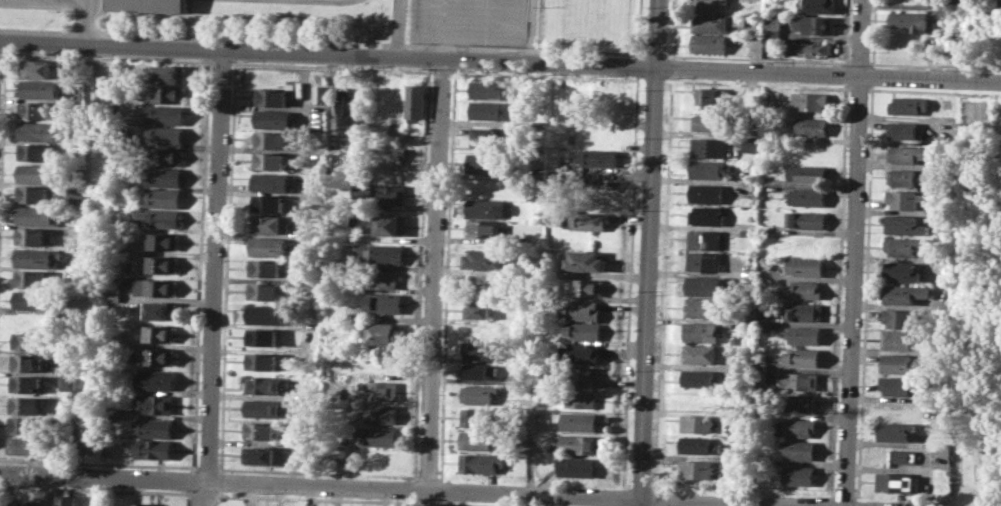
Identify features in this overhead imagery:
road: (59, 1)
building: (956, 4)
building: (148, 5)
building: (713, 5)
building: (821, 5)
road: (86, 21)
building: (912, 21)
parking lot: (472, 22)
building: (712, 23)
building: (741, 23)
building: (774, 23)
building: (815, 24)
road: (398, 27)
road: (641, 28)
road: (532, 31)
road: (229, 38)
building: (711, 43)
building: (809, 48)
road: (536, 51)
road: (500, 61)
road: (640, 65)
building: (37, 67)
building: (170, 74)
building: (39, 88)
building: (490, 89)
building: (166, 93)
building: (318, 93)
building: (272, 97)
building: (713, 97)
building: (769, 98)
building: (415, 99)
building: (396, 101)
building: (812, 101)
building: (909, 105)
building: (348, 108)
building: (35, 109)
building: (492, 110)
building: (166, 114)
building: (274, 118)
building: (713, 122)
building: (813, 126)
building: (905, 128)
building: (945, 128)
building: (38, 131)
building: (165, 135)
building: (491, 136)
building: (270, 138)
building: (753, 144)
building: (709, 147)
building: (812, 150)
building: (36, 152)
building: (908, 153)
building: (166, 155)
building: (392, 157)
building: (600, 157)
building: (335, 159)
building: (270, 160)
building: (488, 164)
building: (710, 169)
building: (37, 173)
building: (808, 174)
building: (164, 177)
building: (902, 177)
building: (273, 182)
building: (751, 186)
building: (708, 192)
building: (32, 193)
building: (381, 193)
building: (536, 193)
building: (75, 195)
building: (809, 196)
building: (161, 198)
building: (903, 198)
building: (268, 203)
building: (487, 208)
building: (37, 215)
building: (708, 215)
building: (158, 217)
building: (589, 220)
building: (805, 220)
building: (271, 223)
building: (904, 225)
building: (390, 226)
building: (484, 228)
building: (750, 232)
building: (31, 235)
building: (708, 239)
building: (164, 241)
building: (903, 245)
building: (269, 246)
road: (651, 252)
building: (380, 253)
road: (855, 253)
building: (36, 257)
building: (487, 259)
building: (586, 261)
building: (705, 261)
building: (767, 262)
building: (161, 264)
road: (215, 265)
building: (805, 266)
building: (269, 267)
building: (900, 271)
building: (29, 278)
building: (382, 279)
road: (631, 281)
road: (437, 282)
building: (706, 286)
building: (113, 287)
building: (156, 287)
building: (589, 287)
building: (266, 290)
building: (805, 290)
building: (904, 293)
building: (30, 299)
building: (385, 302)
building: (706, 307)
building: (480, 309)
building: (161, 310)
building: (584, 310)
building: (804, 311)
building: (266, 313)
building: (67, 316)
building: (765, 318)
building: (901, 319)
building: (586, 330)
building: (705, 332)
building: (158, 333)
building: (383, 333)
building: (804, 335)
building: (263, 336)
building: (899, 339)
building: (25, 340)
building: (483, 350)
building: (582, 353)
building: (703, 353)
building: (159, 356)
building: (803, 357)
building: (262, 361)
building: (30, 362)
building: (898, 363)
building: (478, 371)
building: (68, 376)
building: (583, 376)
building: (701, 377)
building: (155, 379)
building: (800, 380)
building: (25, 384)
building: (264, 385)
building: (898, 385)
building: (380, 390)
building: (479, 394)
building: (583, 398)
building: (701, 399)
building: (155, 403)
building: (803, 403)
building: (25, 404)
building: (264, 407)
building: (381, 414)
building: (481, 416)
building: (579, 420)
building: (700, 423)
building: (24, 425)
building: (797, 426)
building: (153, 428)
road: (531, 428)
building: (259, 430)
building: (894, 430)
building: (88, 433)
building: (378, 436)
building: (480, 439)
building: (580, 443)
building: (23, 445)
building: (702, 445)
building: (152, 449)
building: (799, 449)
building: (259, 454)
building: (902, 456)
building: (482, 462)
building: (576, 466)
building: (698, 469)
building: (800, 475)
building: (895, 482)
road: (422, 488)
road: (198, 493)
road: (624, 496)
building: (65, 500)
building: (91, 501)
building: (16, 502)
building: (35, 502)
building: (143, 503)
road: (622, 505)
road: (852, 505)

